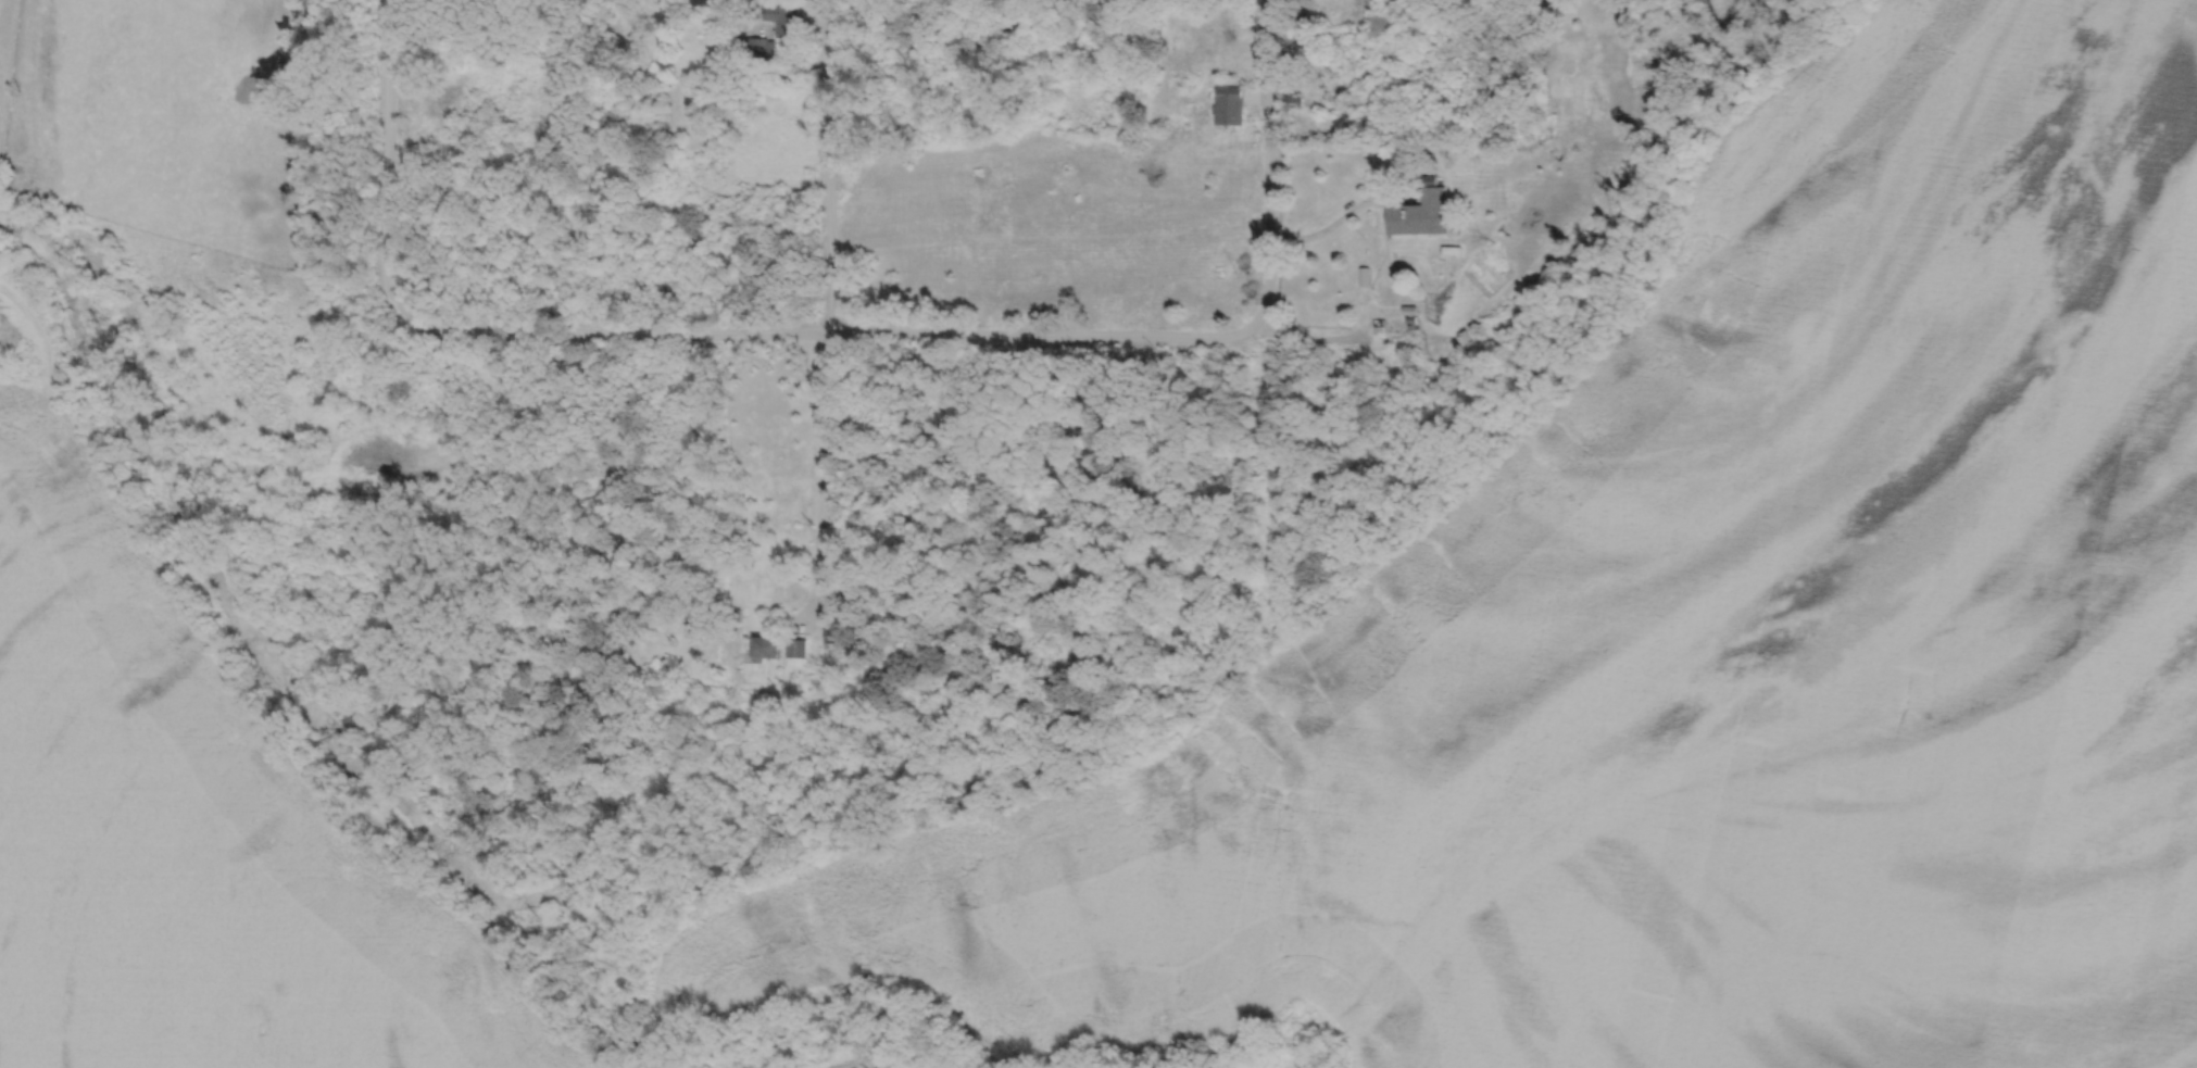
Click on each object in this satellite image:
building: (786, 23)
building: (1385, 28)
building: (764, 50)
building: (1597, 62)
building: (1231, 106)
building: (1556, 108)
road: (391, 164)
road: (1273, 166)
building: (1422, 213)
road: (1336, 221)
road: (831, 316)
road: (830, 329)
building: (769, 650)
building: (799, 652)

